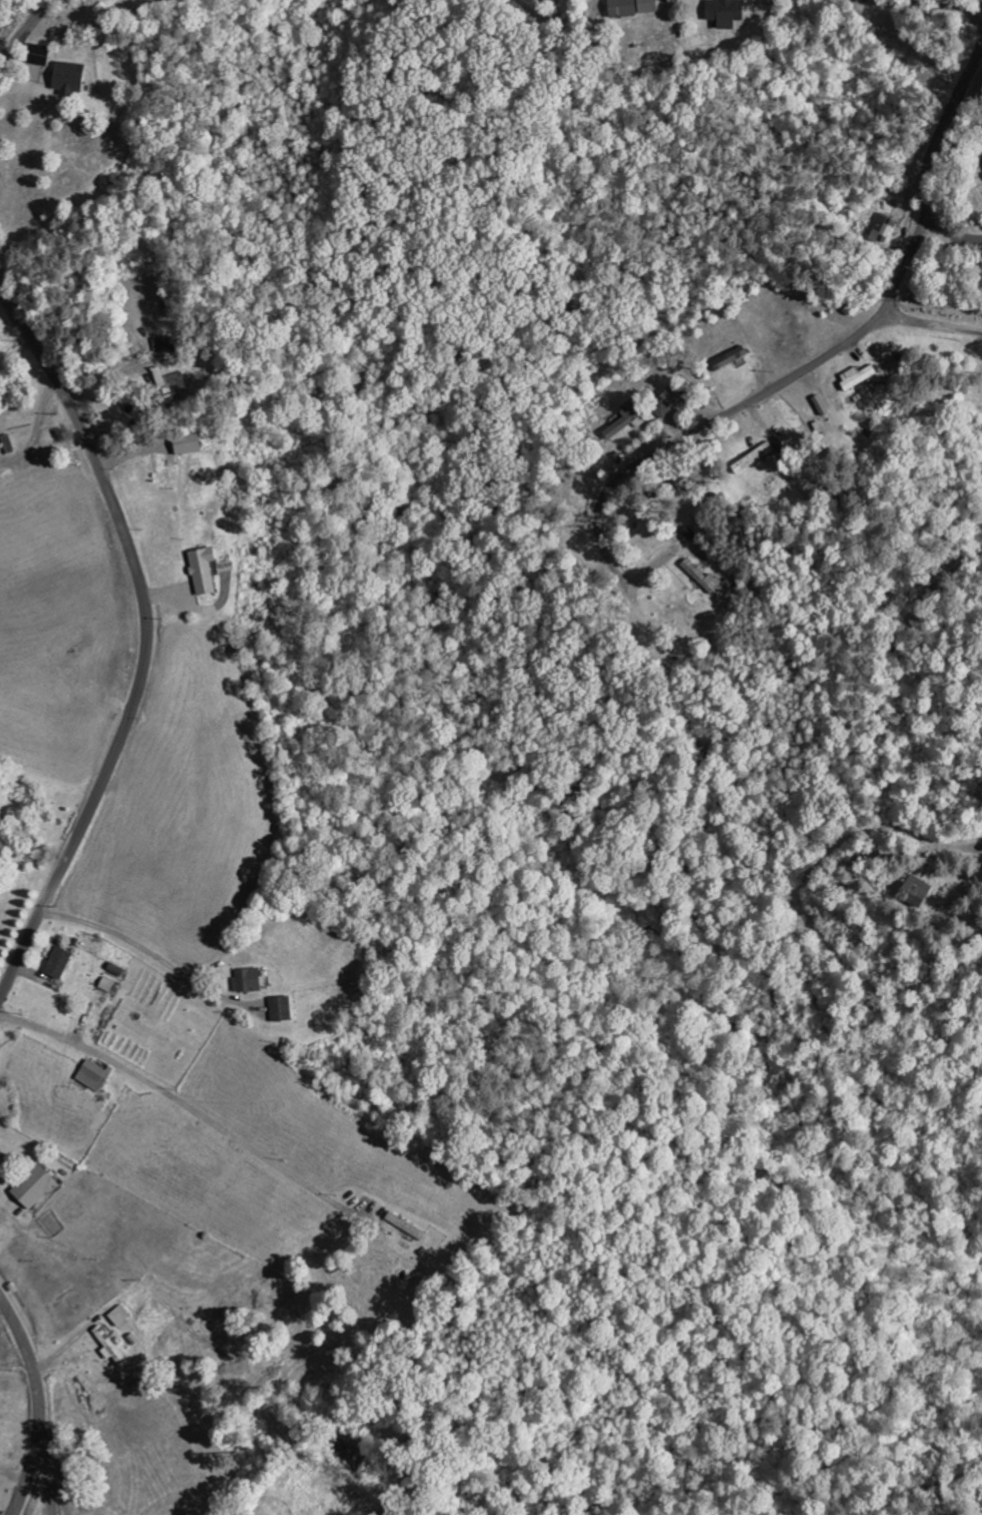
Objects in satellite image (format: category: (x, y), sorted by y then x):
road: (928, 5)
building: (649, 7)
building: (624, 9)
building: (727, 13)
road: (25, 32)
building: (39, 55)
building: (70, 79)
road: (927, 156)
building: (884, 230)
road: (929, 322)
building: (165, 344)
building: (731, 359)
building: (858, 378)
building: (674, 397)
road: (749, 403)
building: (663, 410)
building: (629, 421)
building: (189, 445)
building: (754, 459)
building: (204, 571)
building: (704, 578)
road: (149, 645)
building: (918, 893)
building: (60, 964)
building: (249, 982)
building: (108, 986)
building: (282, 1010)
building: (94, 1077)
building: (0, 1179)
building: (36, 1187)
building: (408, 1227)
building: (120, 1317)
building: (109, 1345)
road: (38, 1404)
road: (44, 1463)

